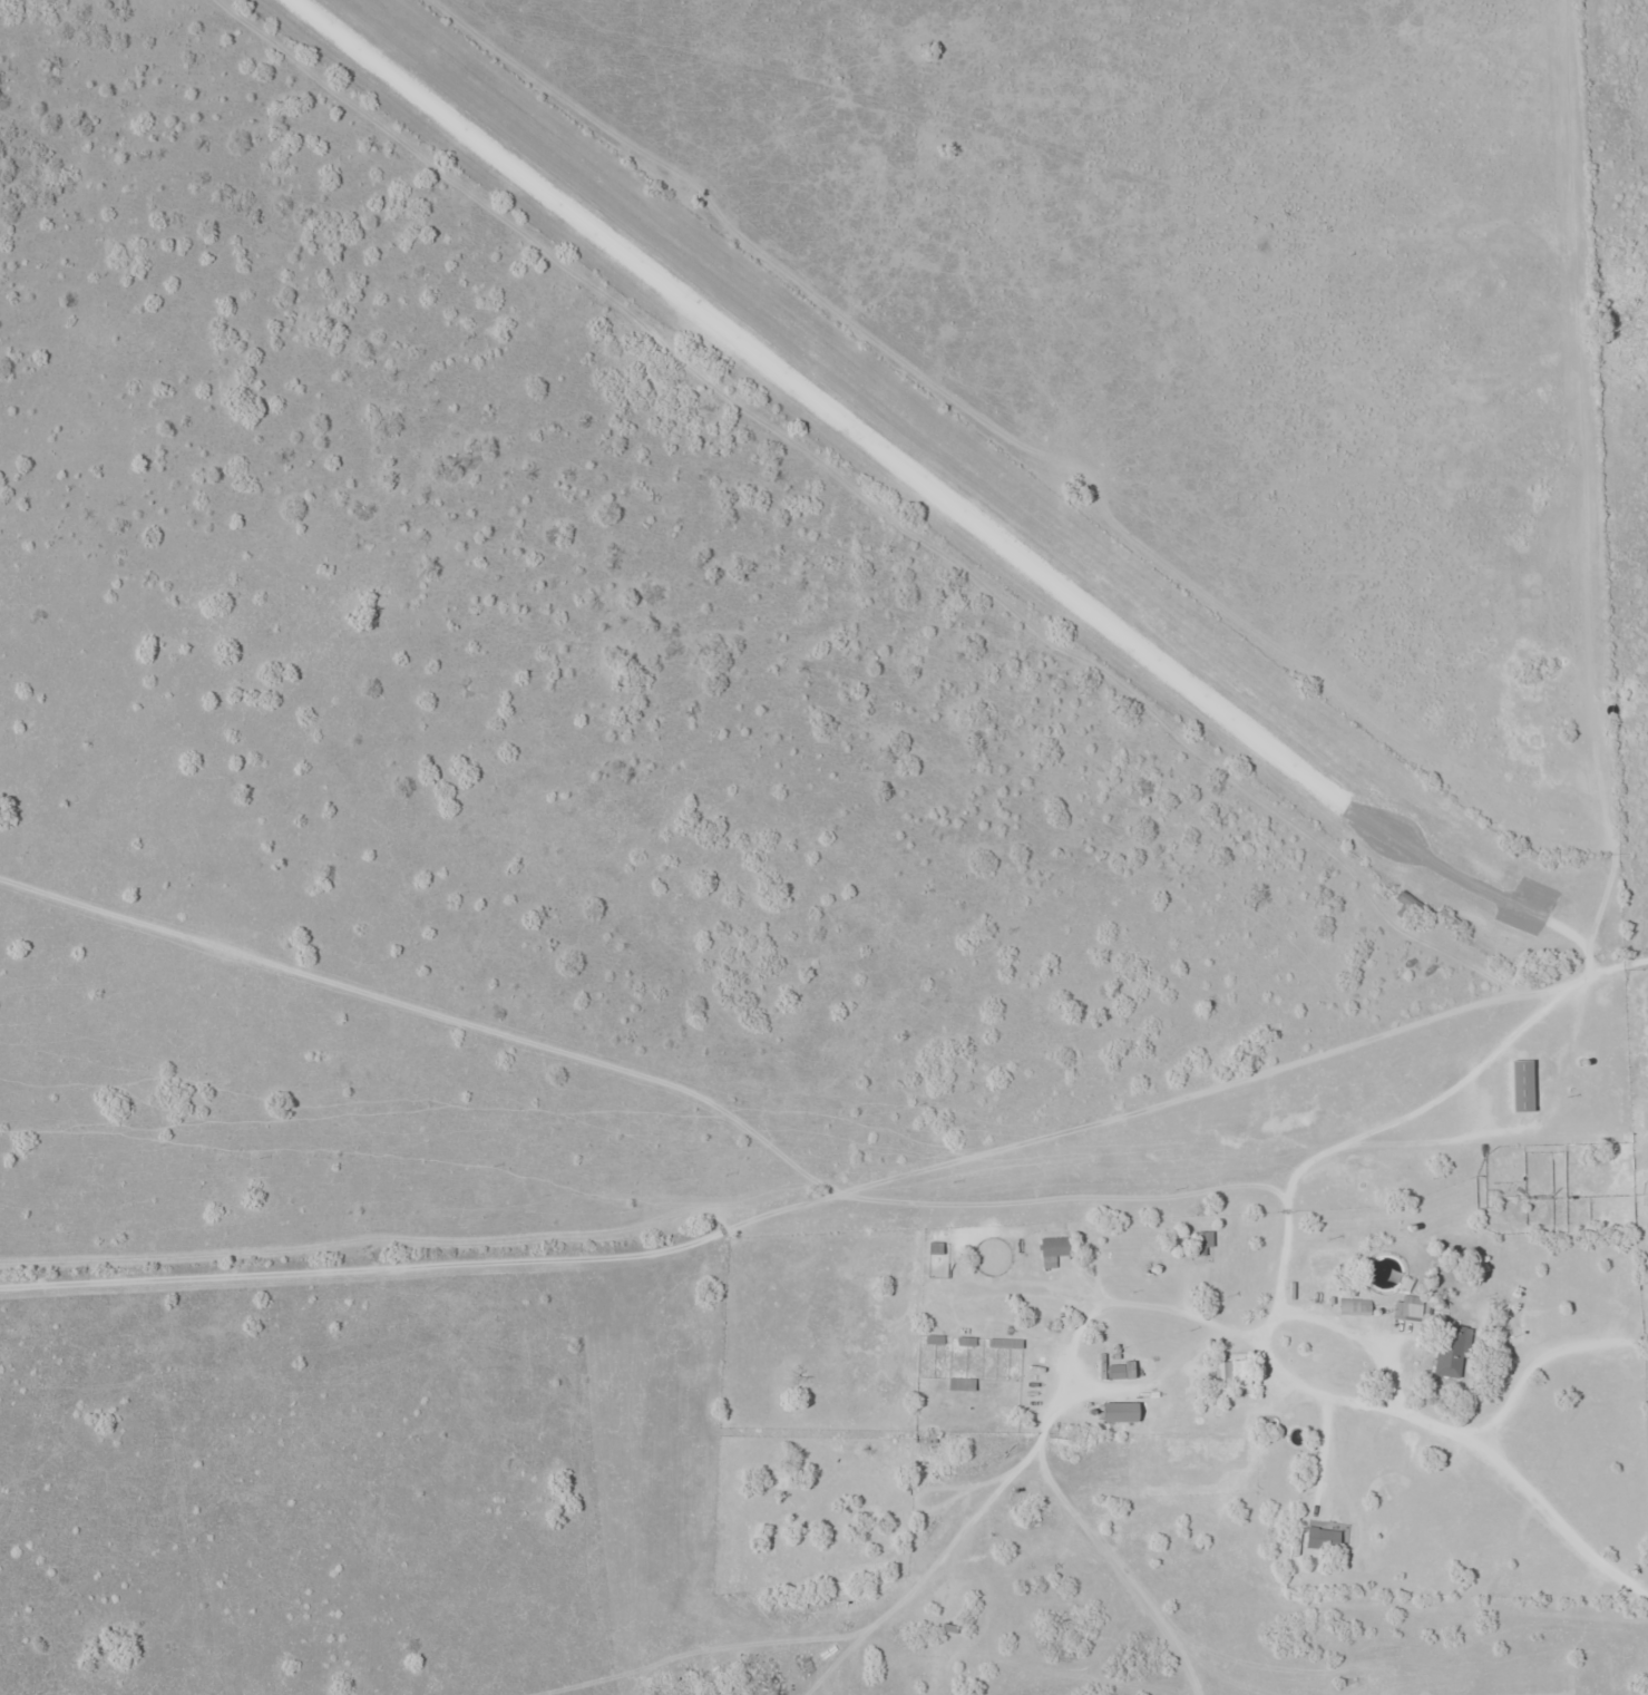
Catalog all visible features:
airport runway: (821, 403)
building: (1407, 905)
building: (1521, 1084)
road: (874, 1196)
road: (836, 1204)
building: (1202, 1241)
building: (934, 1247)
building: (1054, 1248)
building: (1354, 1307)
building: (1406, 1308)
building: (1450, 1350)
road: (1552, 1368)
building: (1119, 1370)
building: (1225, 1373)
building: (959, 1383)
building: (1119, 1411)
building: (1322, 1538)

